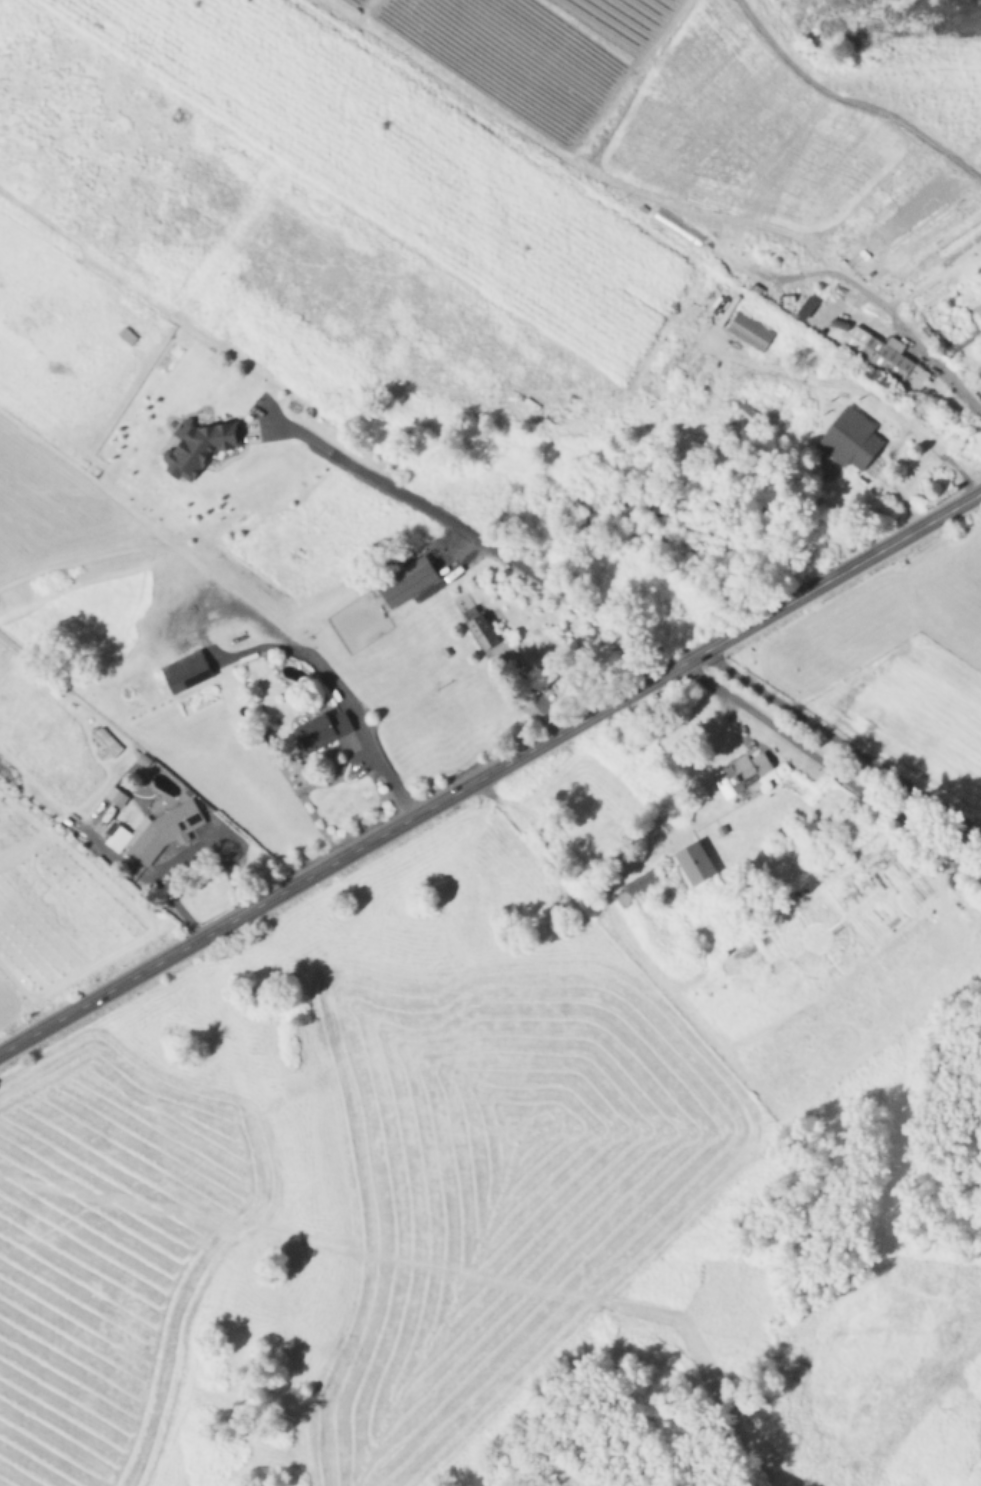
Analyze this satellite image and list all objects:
road: (849, 100)
road: (579, 164)
building: (742, 271)
building: (809, 305)
building: (980, 307)
road: (881, 312)
building: (750, 329)
building: (888, 357)
building: (699, 384)
building: (89, 394)
road: (866, 396)
building: (744, 415)
building: (852, 437)
building: (200, 445)
road: (480, 537)
road: (840, 573)
building: (409, 579)
building: (484, 630)
building: (539, 651)
crop: (896, 660)
building: (187, 670)
road: (346, 698)
building: (323, 729)
building: (108, 742)
road: (839, 743)
building: (150, 762)
road: (828, 768)
building: (743, 773)
building: (120, 798)
building: (724, 829)
building: (164, 830)
road: (228, 833)
flagpole: (178, 852)
road: (349, 854)
road: (616, 860)
building: (698, 863)
road: (141, 874)
building: (638, 885)

